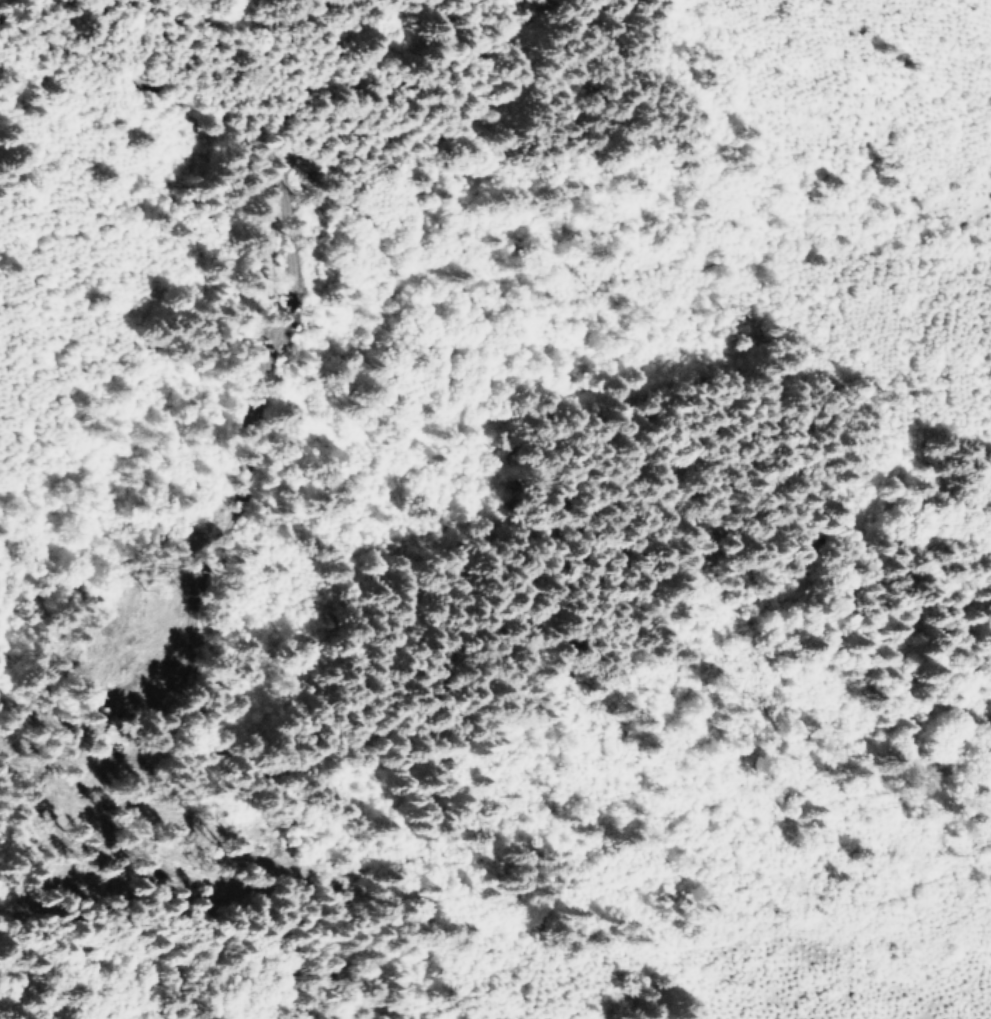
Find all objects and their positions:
road: (656, 178)
road: (335, 206)
road: (160, 239)
road: (559, 510)
road: (845, 747)
road: (367, 851)
road: (98, 978)

